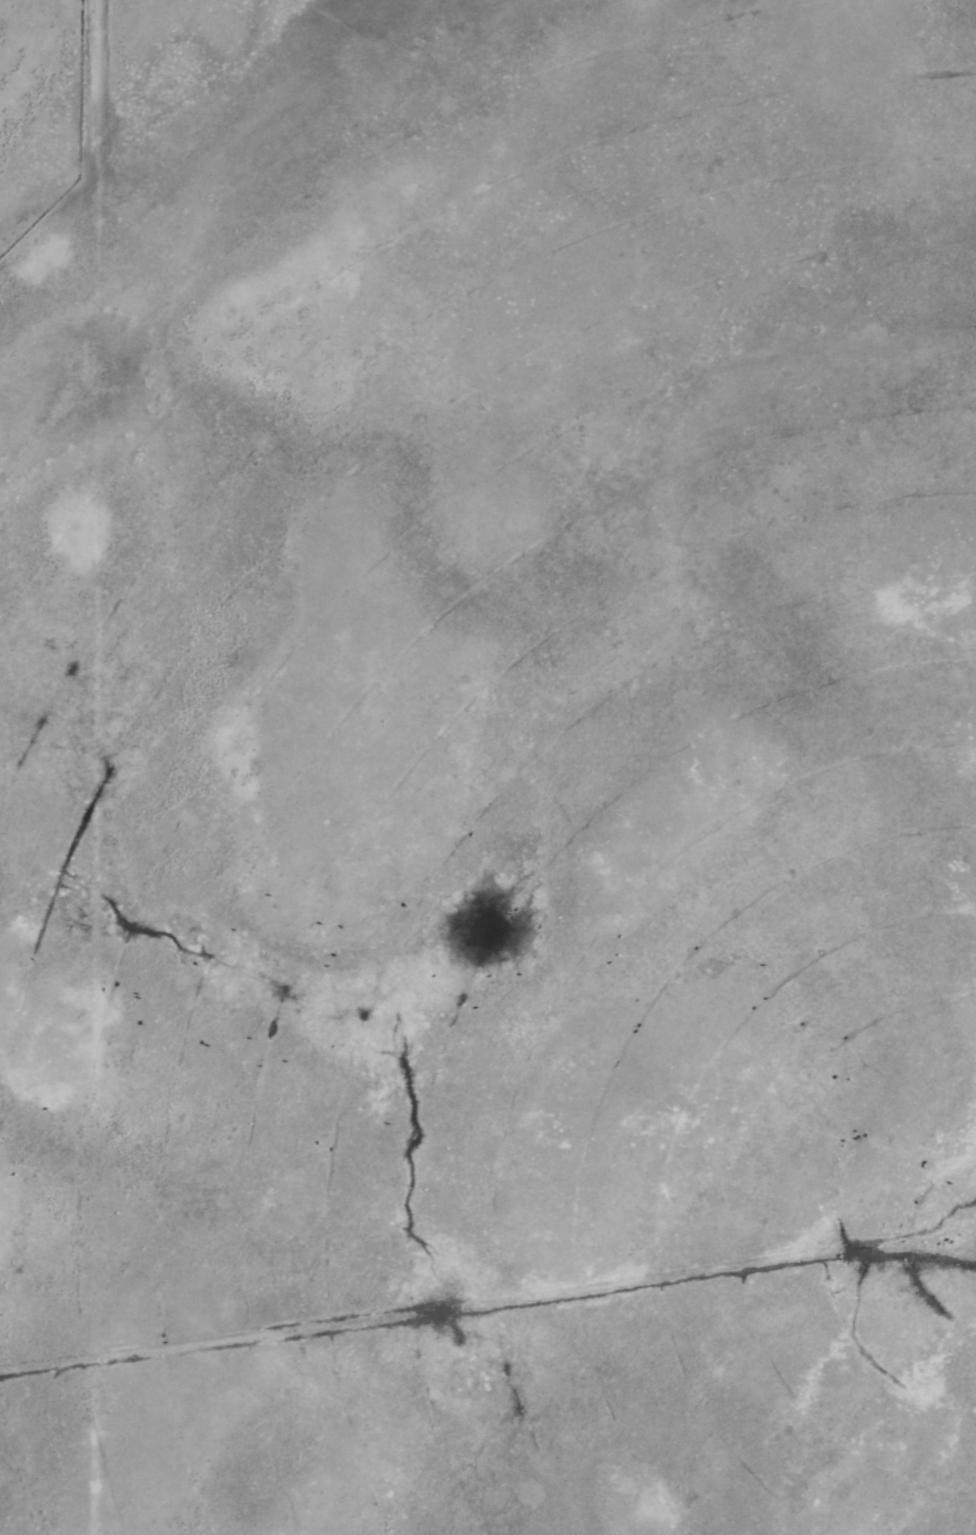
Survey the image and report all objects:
crop: (488, 767)

